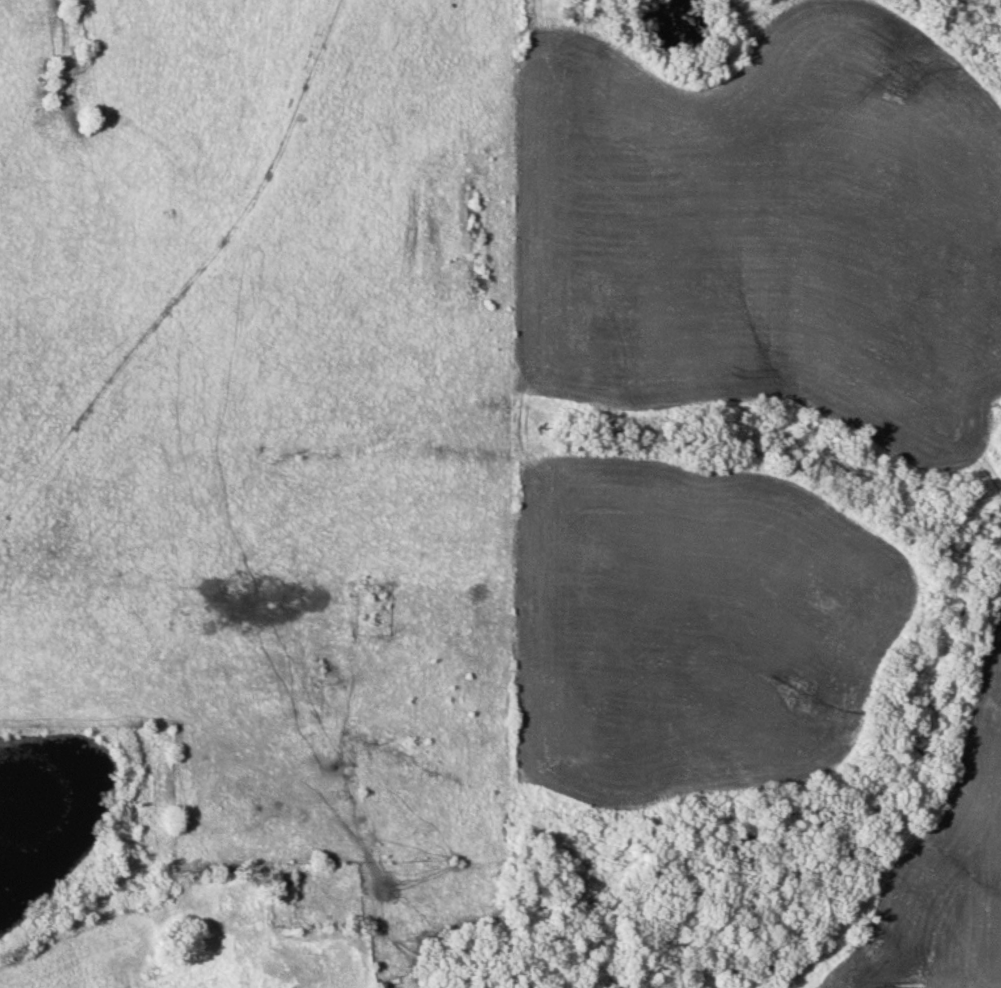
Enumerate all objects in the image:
building: (279, 886)

